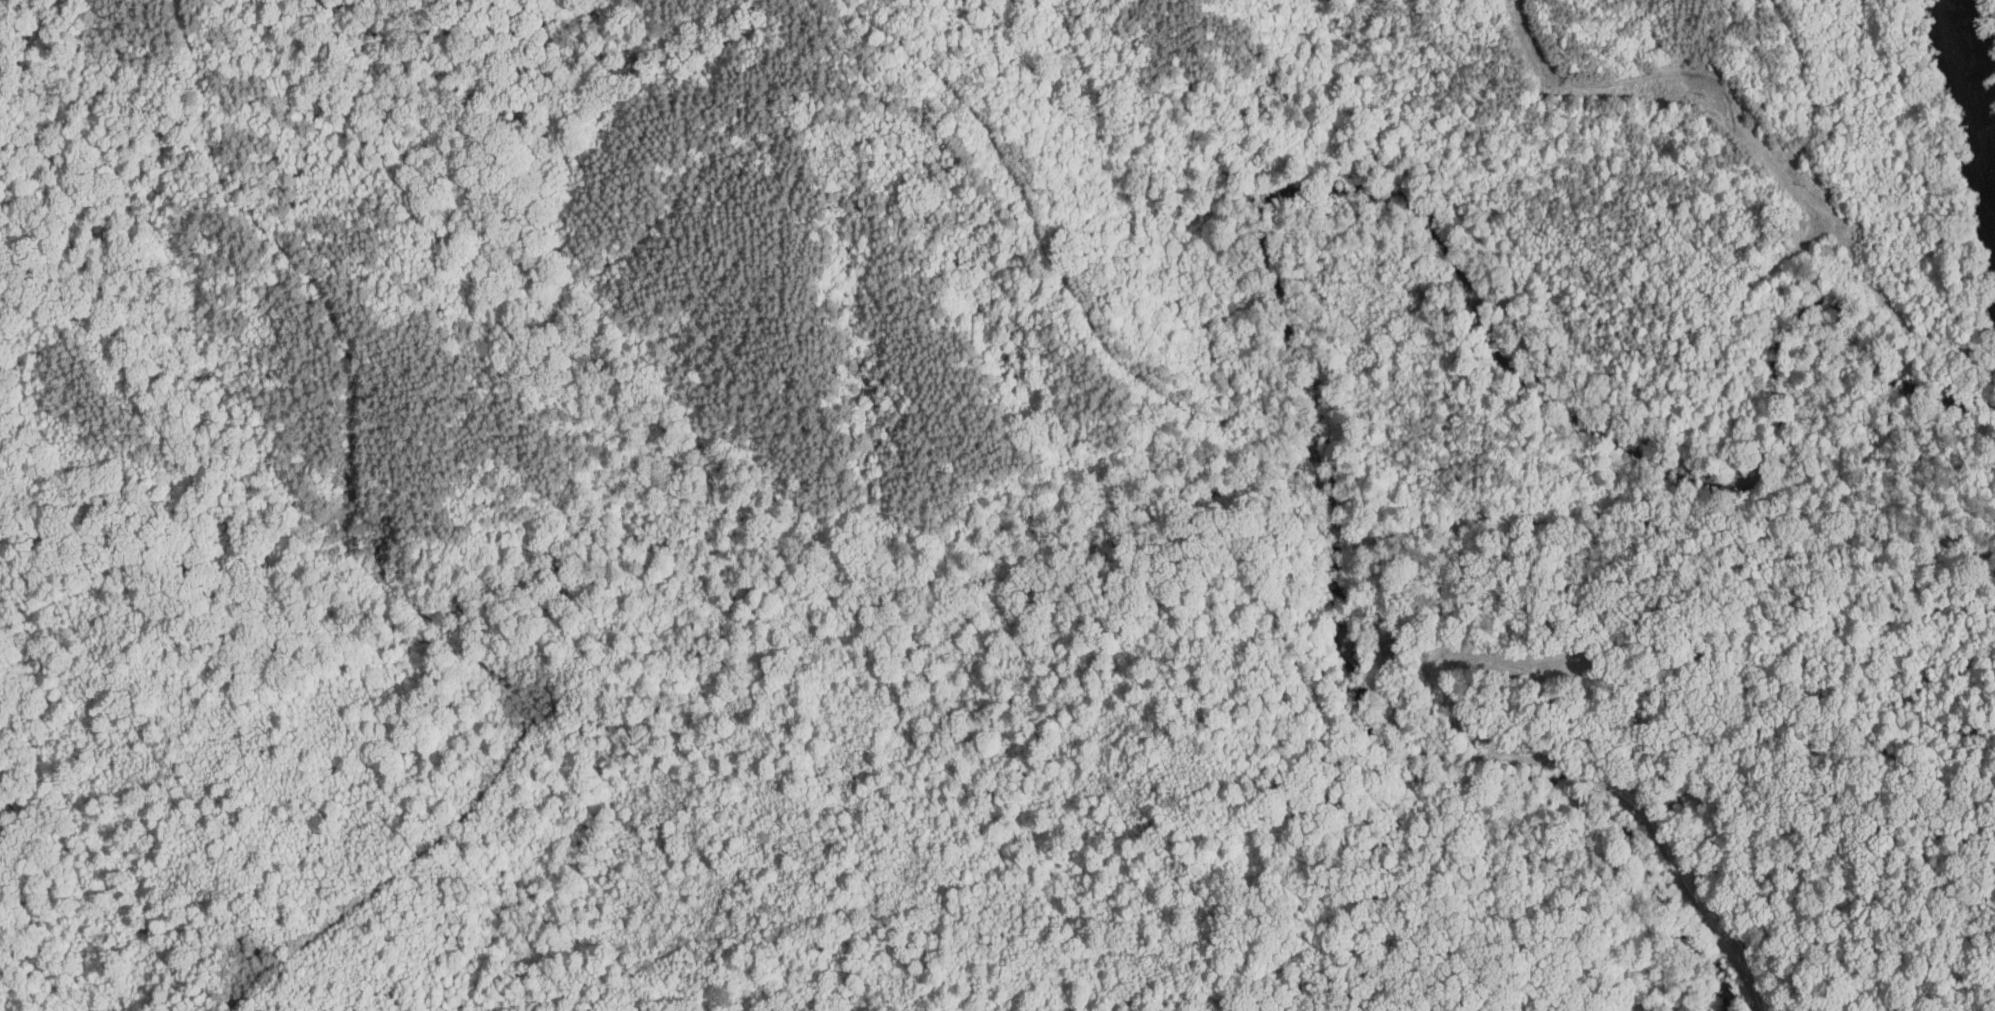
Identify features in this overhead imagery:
river: (1974, 80)
road: (1648, 815)

